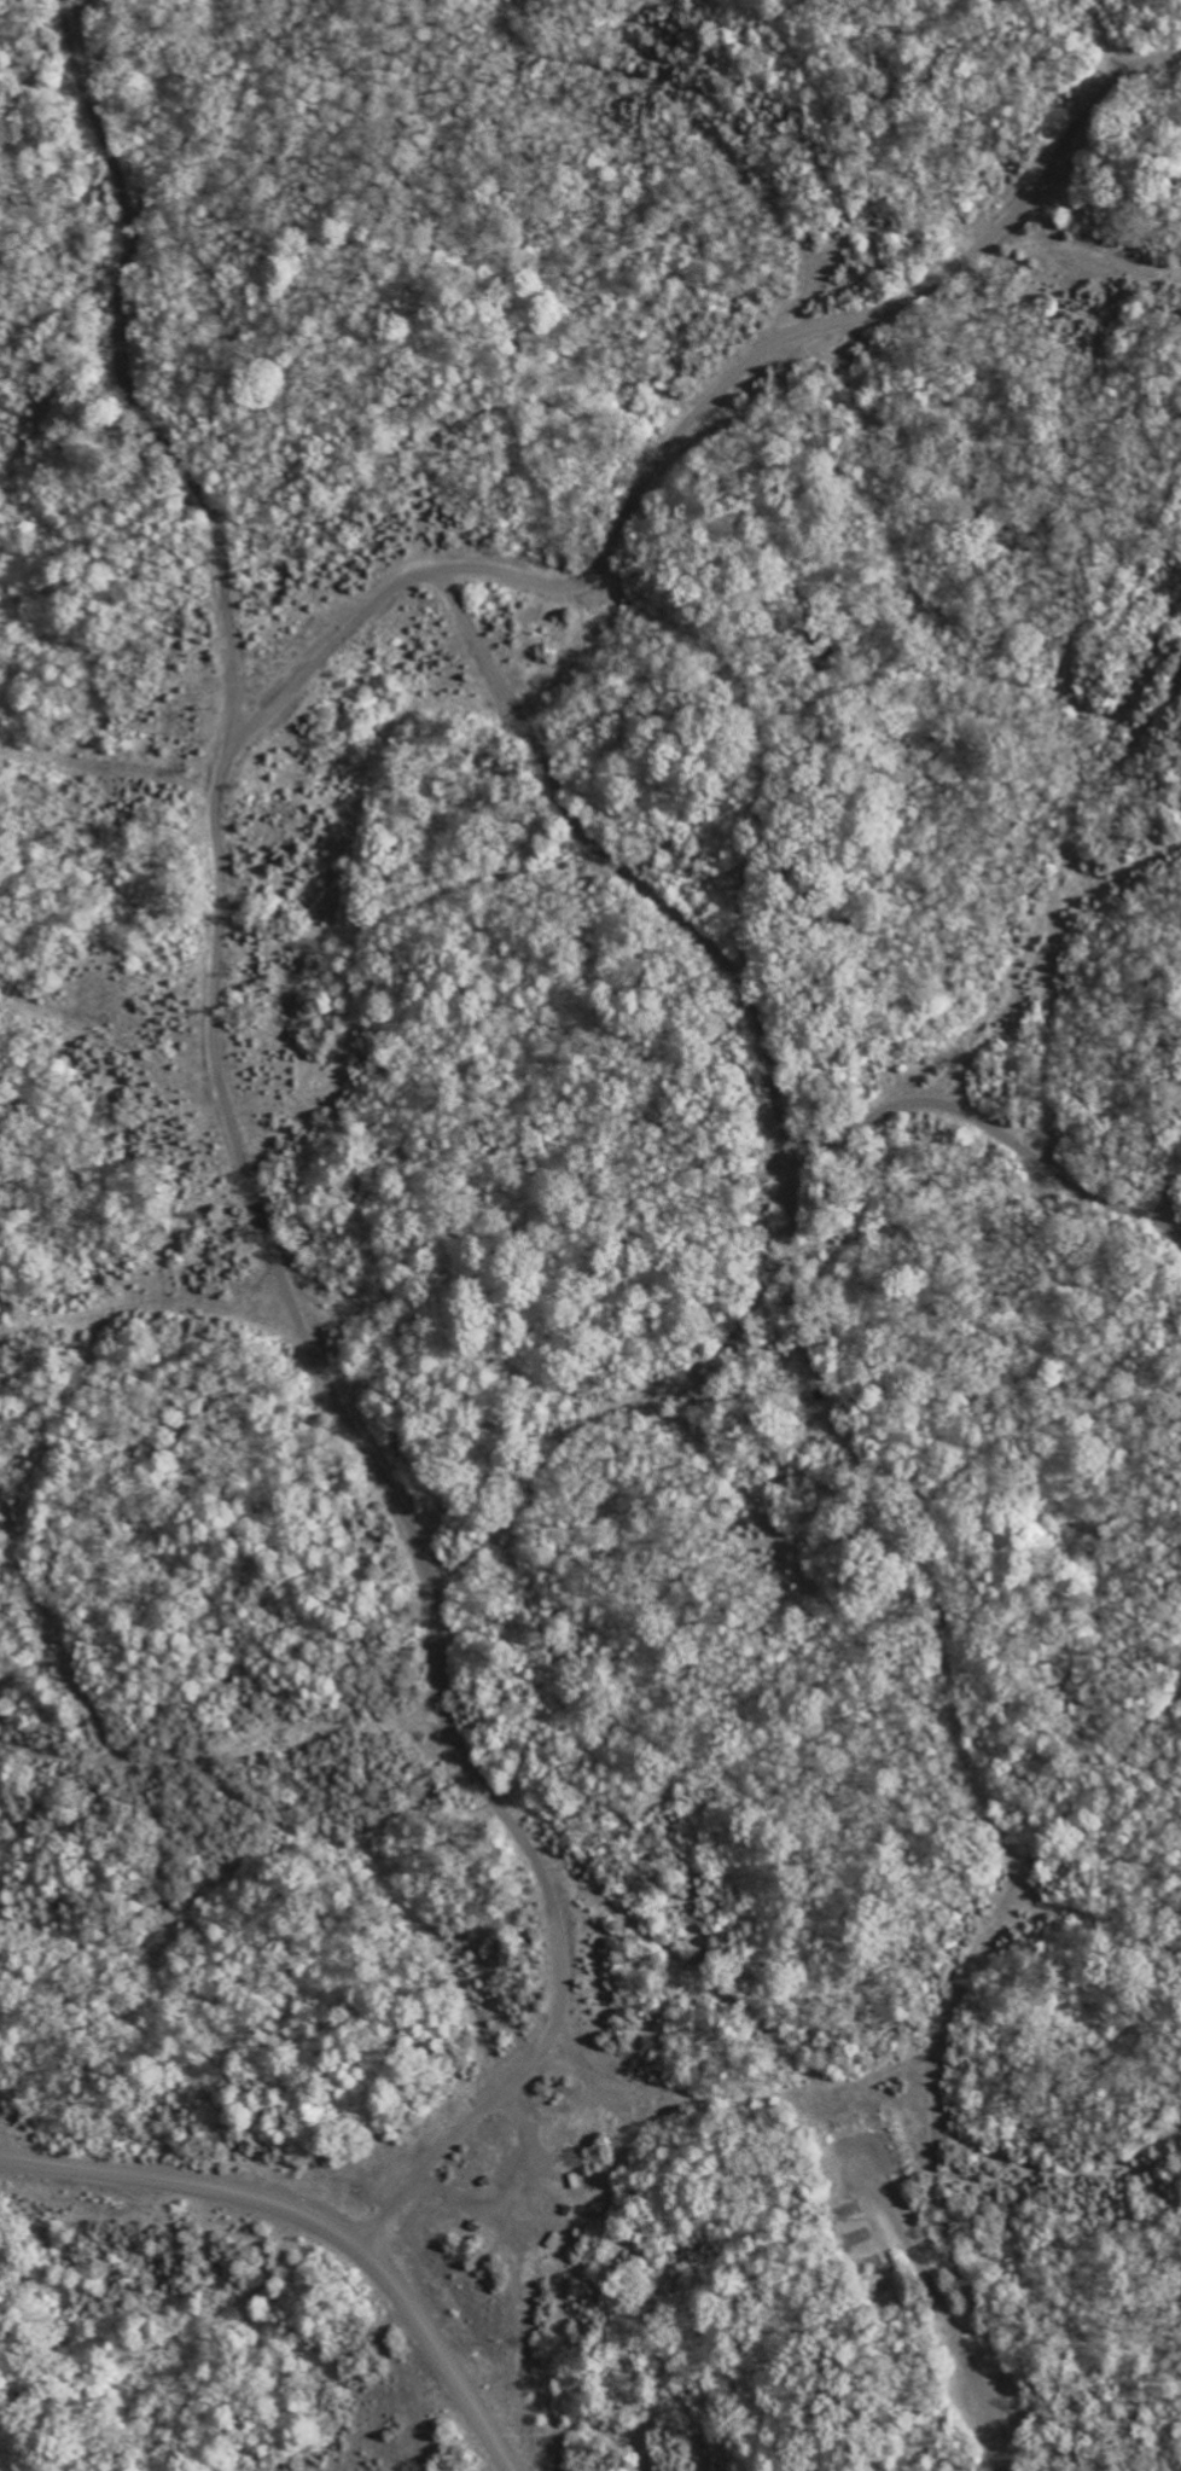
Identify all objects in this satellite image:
road: (314, 2221)

